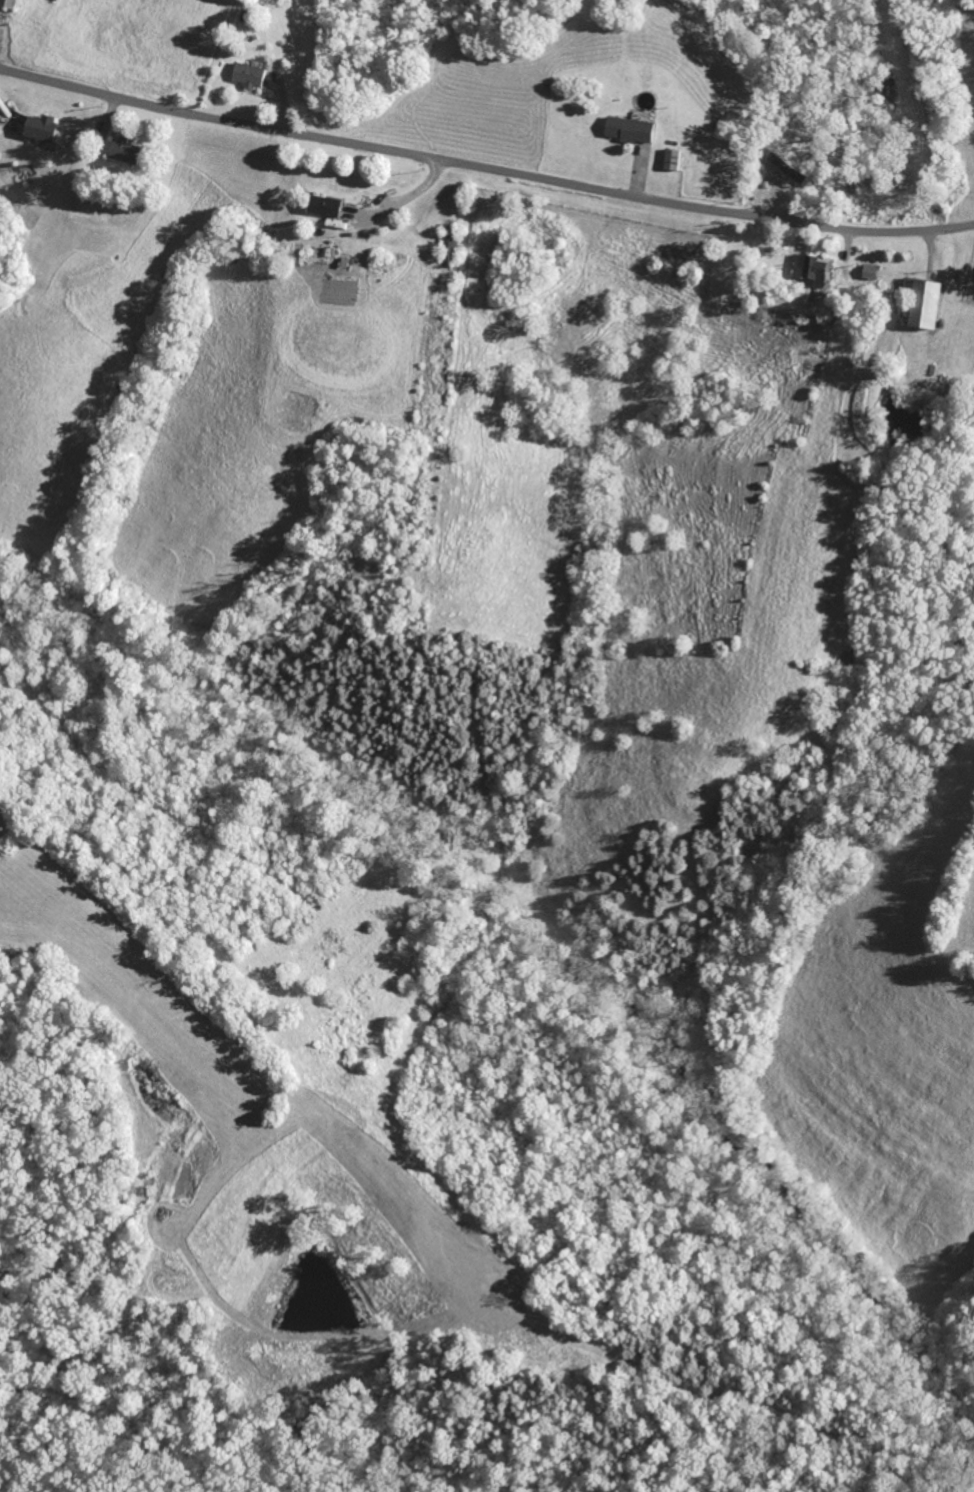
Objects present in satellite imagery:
building: (10, 3)
building: (254, 75)
building: (46, 128)
building: (633, 129)
building: (0, 130)
building: (128, 150)
building: (675, 159)
road: (484, 169)
building: (793, 170)
road: (413, 195)
building: (330, 205)
building: (812, 266)
building: (929, 302)

